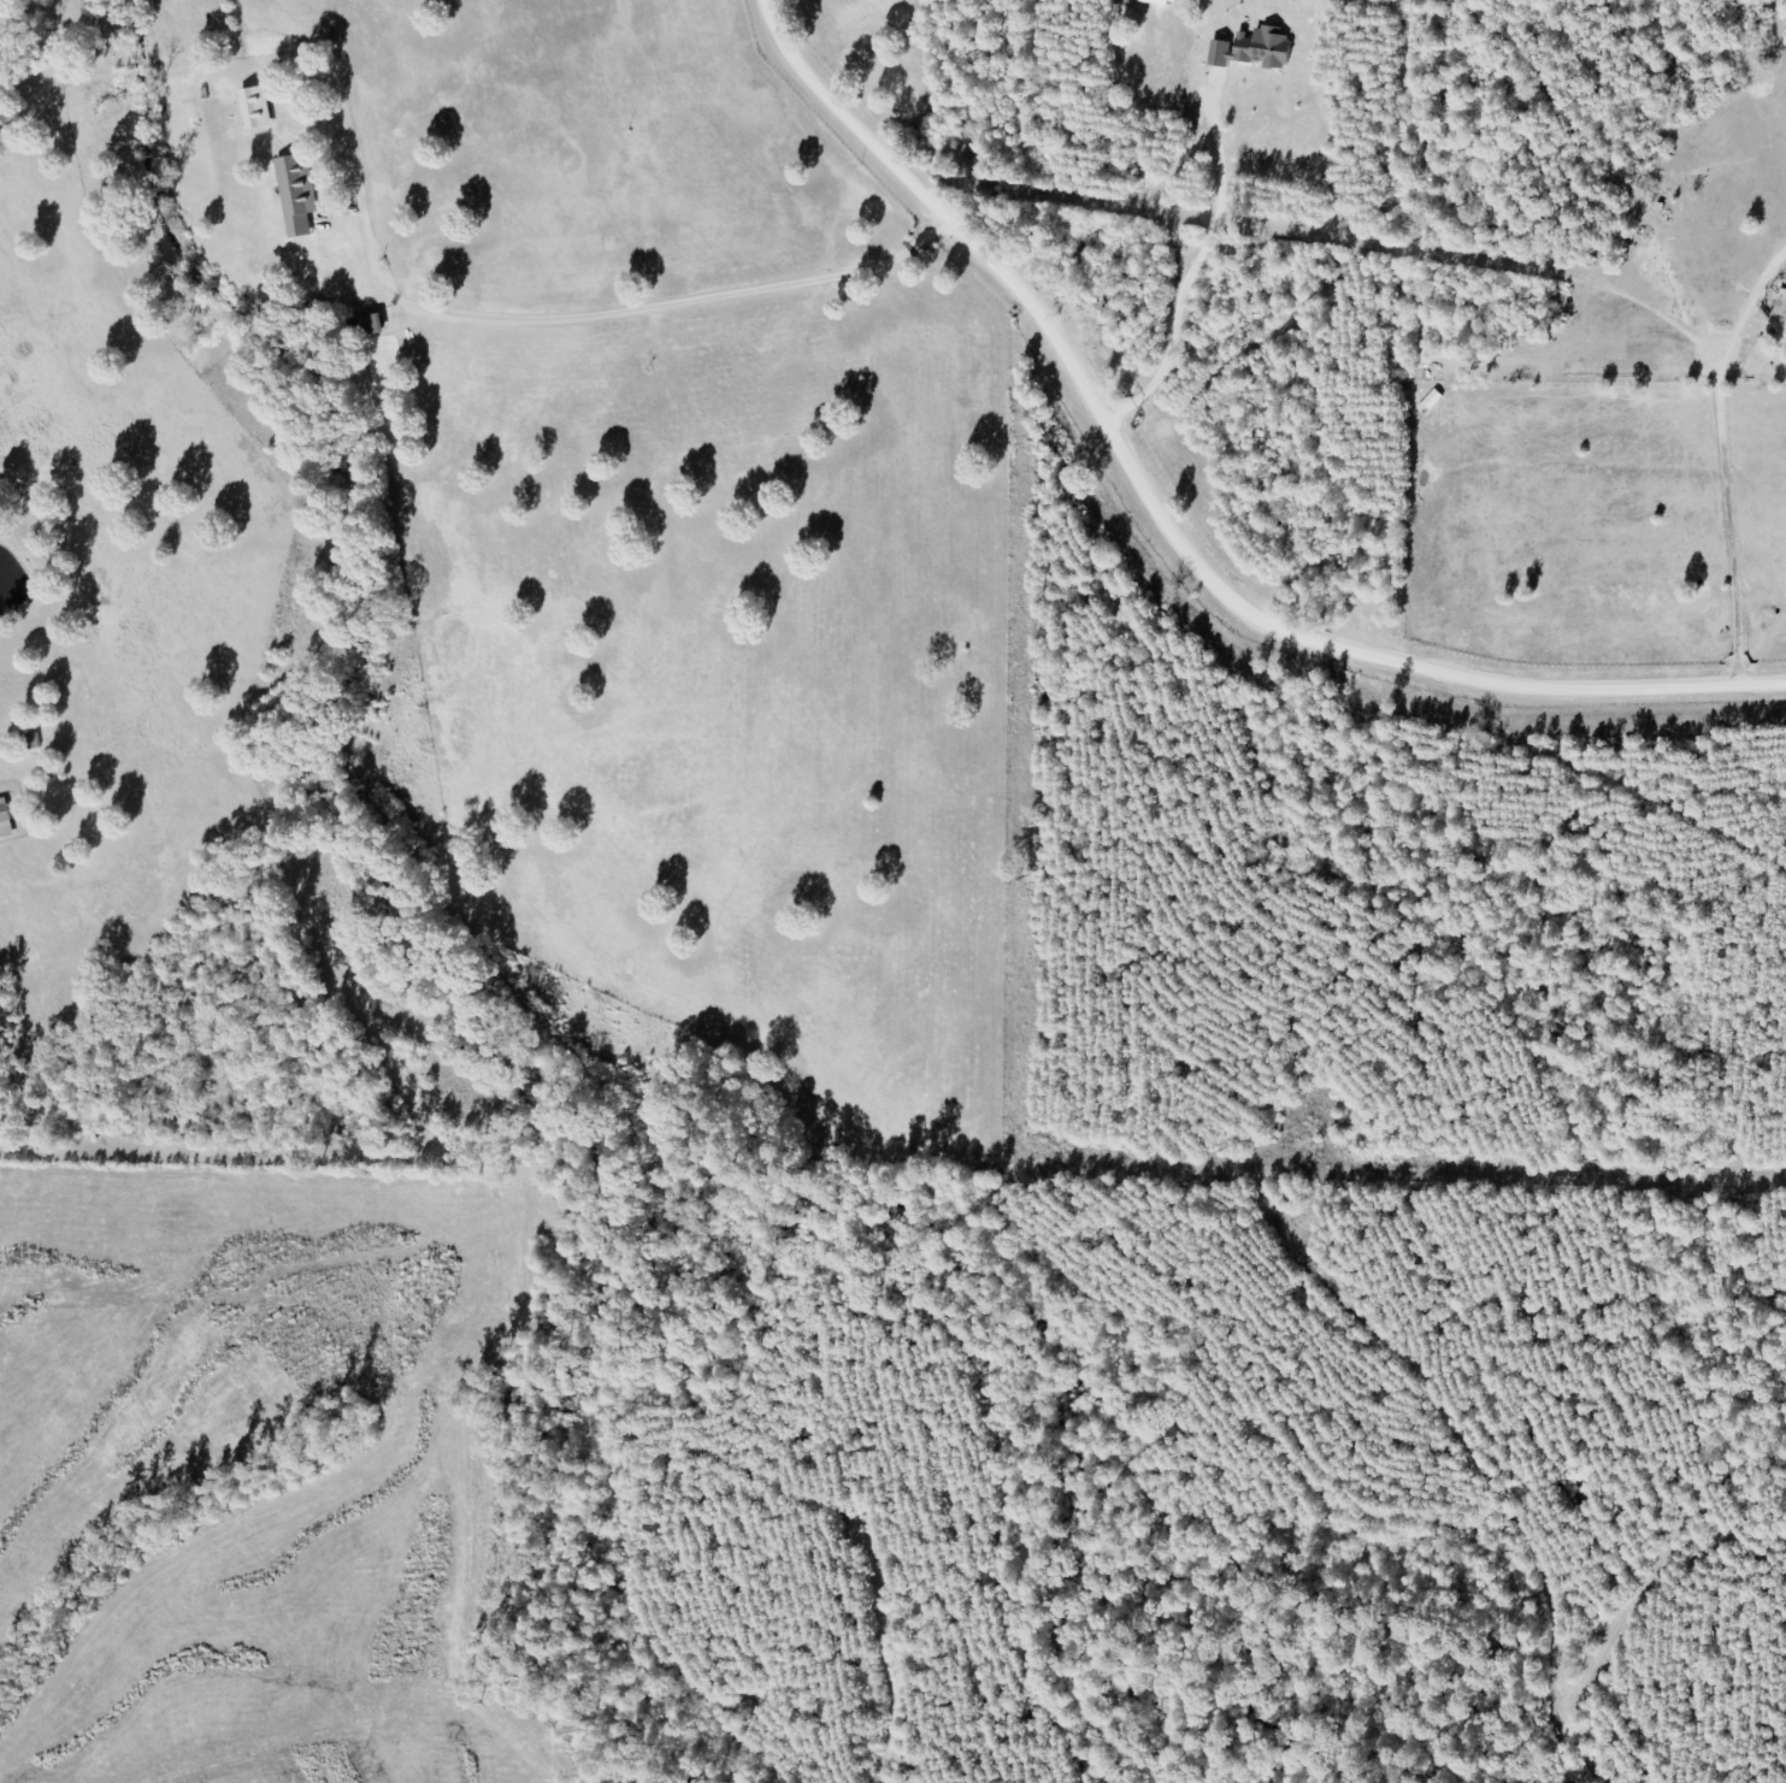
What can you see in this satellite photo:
road: (534, 114)
building: (294, 193)
building: (361, 325)
road: (1150, 530)
building: (30, 739)
building: (4, 820)

